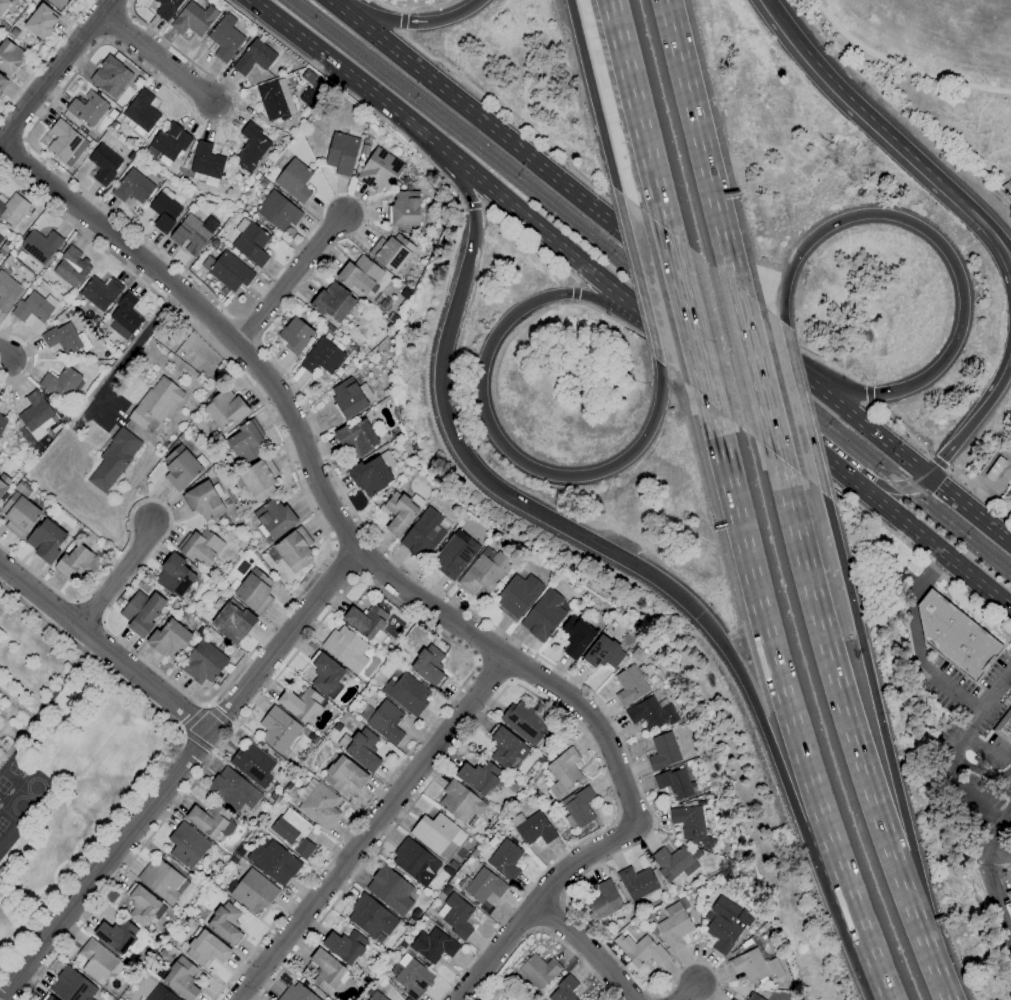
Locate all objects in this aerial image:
building: (71, 1)
building: (3, 5)
road: (392, 7)
building: (166, 8)
road: (127, 9)
road: (404, 12)
building: (193, 19)
building: (40, 21)
road: (403, 22)
road: (409, 22)
road: (114, 23)
road: (782, 30)
road: (401, 31)
building: (12, 32)
building: (225, 38)
road: (103, 39)
road: (44, 56)
building: (10, 57)
road: (156, 57)
building: (254, 58)
road: (903, 64)
road: (446, 67)
road: (55, 69)
park: (939, 69)
building: (110, 76)
building: (2, 83)
building: (0, 94)
road: (593, 95)
road: (352, 96)
building: (309, 99)
building: (272, 101)
building: (87, 108)
building: (142, 111)
road: (641, 117)
road: (872, 126)
road: (23, 140)
building: (170, 141)
building: (65, 143)
road: (702, 145)
building: (250, 147)
building: (364, 149)
building: (342, 153)
road: (10, 154)
building: (206, 161)
building: (104, 164)
building: (379, 170)
building: (294, 180)
building: (133, 187)
road: (492, 188)
building: (1004, 188)
road: (471, 206)
building: (13, 209)
building: (404, 209)
building: (277, 211)
building: (164, 213)
road: (982, 216)
road: (647, 231)
building: (194, 233)
building: (0, 236)
road: (985, 236)
road: (628, 237)
building: (1, 239)
building: (252, 244)
building: (40, 245)
road: (527, 246)
building: (4, 248)
building: (391, 252)
road: (950, 259)
building: (72, 267)
road: (180, 269)
building: (230, 271)
building: (359, 275)
road: (639, 278)
railway: (656, 279)
road: (289, 282)
railway: (648, 287)
building: (8, 292)
building: (100, 292)
road: (575, 293)
building: (333, 303)
building: (32, 308)
building: (126, 313)
road: (690, 321)
building: (295, 336)
building: (65, 339)
road: (133, 347)
building: (323, 356)
road: (1, 358)
road: (31, 359)
road: (835, 369)
road: (759, 377)
building: (60, 383)
road: (869, 385)
road: (869, 394)
building: (349, 398)
building: (155, 403)
road: (756, 403)
road: (868, 405)
building: (226, 408)
building: (35, 411)
road: (806, 412)
road: (973, 417)
road: (486, 420)
building: (2, 422)
road: (899, 427)
building: (356, 439)
building: (246, 442)
road: (811, 447)
road: (791, 452)
building: (114, 460)
road: (938, 463)
building: (180, 468)
building: (995, 468)
building: (372, 474)
traffic signals: (927, 476)
building: (259, 479)
building: (4, 483)
road: (883, 489)
road: (978, 491)
building: (203, 501)
building: (226, 503)
road: (969, 509)
building: (399, 513)
building: (19, 515)
building: (248, 515)
building: (274, 519)
building: (423, 535)
road: (925, 539)
building: (46, 541)
building: (200, 546)
road: (334, 546)
building: (294, 549)
road: (606, 554)
building: (455, 555)
road: (347, 560)
building: (77, 564)
building: (485, 572)
road: (116, 576)
building: (174, 576)
road: (358, 576)
road: (401, 585)
road: (372, 586)
building: (254, 591)
building: (517, 596)
building: (142, 612)
building: (544, 616)
traffic signals: (698, 616)
building: (367, 619)
building: (233, 621)
road: (267, 631)
building: (576, 636)
building: (955, 636)
building: (169, 639)
road: (918, 640)
road: (105, 648)
building: (346, 649)
building: (394, 654)
building: (602, 654)
road: (539, 656)
road: (477, 660)
building: (203, 663)
building: (429, 665)
road: (494, 669)
building: (325, 673)
road: (510, 681)
building: (630, 685)
road: (524, 691)
building: (407, 694)
parking lot: (968, 701)
building: (300, 704)
road: (205, 707)
road: (788, 707)
building: (651, 714)
road: (192, 720)
building: (524, 721)
building: (386, 722)
building: (337, 727)
building: (1004, 727)
building: (279, 729)
road: (851, 730)
road: (183, 733)
road: (199, 744)
road: (886, 744)
building: (506, 747)
road: (954, 748)
building: (361, 749)
building: (558, 750)
building: (663, 752)
building: (539, 760)
road: (167, 761)
building: (688, 763)
building: (253, 764)
building: (565, 768)
road: (981, 771)
road: (175, 774)
building: (344, 774)
building: (479, 777)
building: (547, 783)
building: (674, 783)
park: (3, 785)
building: (233, 790)
building: (460, 802)
building: (318, 804)
building: (578, 808)
parking lot: (986, 808)
building: (550, 813)
building: (209, 819)
building: (691, 826)
building: (535, 829)
road: (370, 830)
building: (293, 832)
building: (434, 832)
road: (997, 836)
building: (187, 846)
building: (734, 855)
building: (470, 859)
building: (505, 860)
building: (273, 861)
building: (415, 862)
building: (671, 862)
building: (162, 881)
building: (637, 882)
building: (484, 886)
building: (253, 890)
building: (390, 890)
building: (445, 891)
road: (998, 896)
building: (603, 901)
building: (1008, 903)
building: (142, 905)
building: (371, 916)
building: (457, 916)
building: (226, 923)
building: (725, 924)
building: (674, 929)
road: (542, 931)
building: (117, 936)
road: (601, 944)
building: (346, 946)
building: (433, 946)
building: (206, 948)
building: (640, 950)
road: (582, 953)
building: (97, 960)
building: (749, 966)
building: (328, 971)
building: (539, 971)
building: (412, 977)
building: (182, 978)
park: (2, 980)
building: (72, 986)
building: (564, 989)
road: (685, 992)
building: (297, 993)
building: (160, 994)
road: (943, 995)
building: (377, 996)
building: (753, 996)
building: (48, 998)
building: (732, 999)

